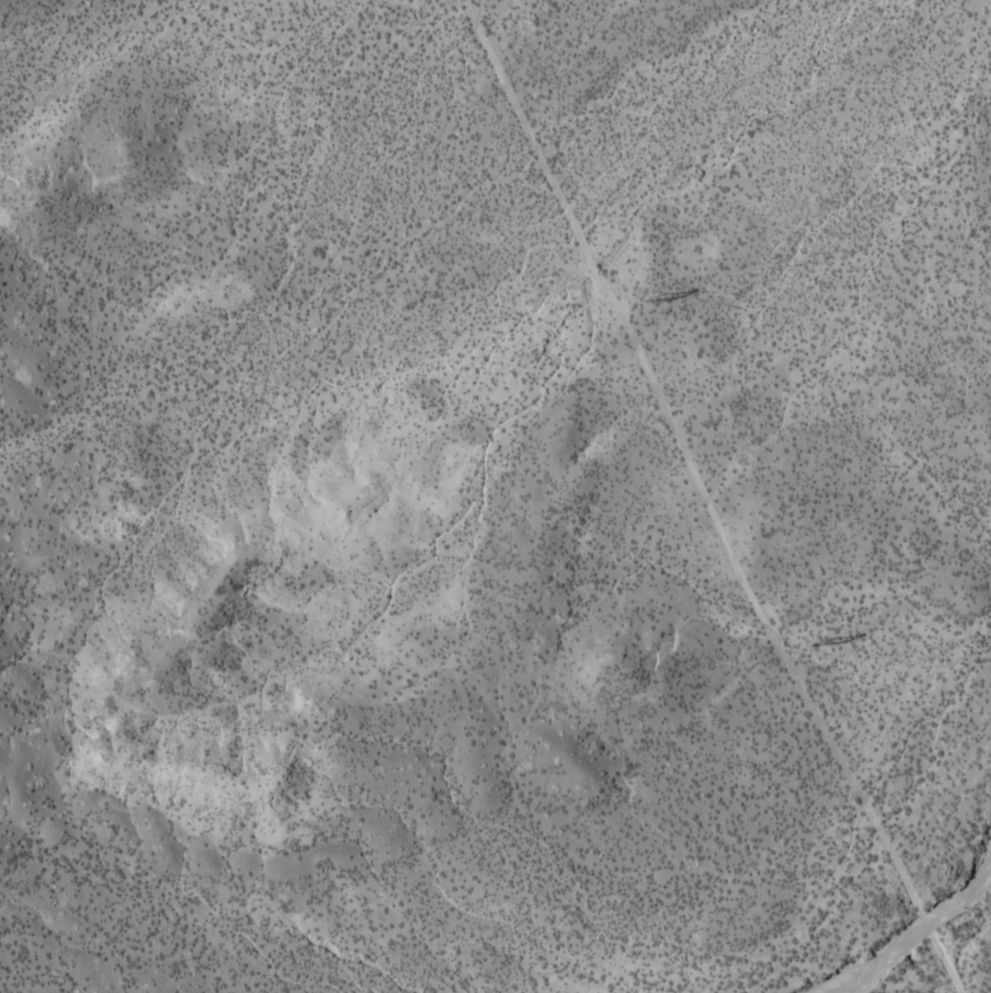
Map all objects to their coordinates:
power tower: (655, 295)
power tower: (818, 637)

